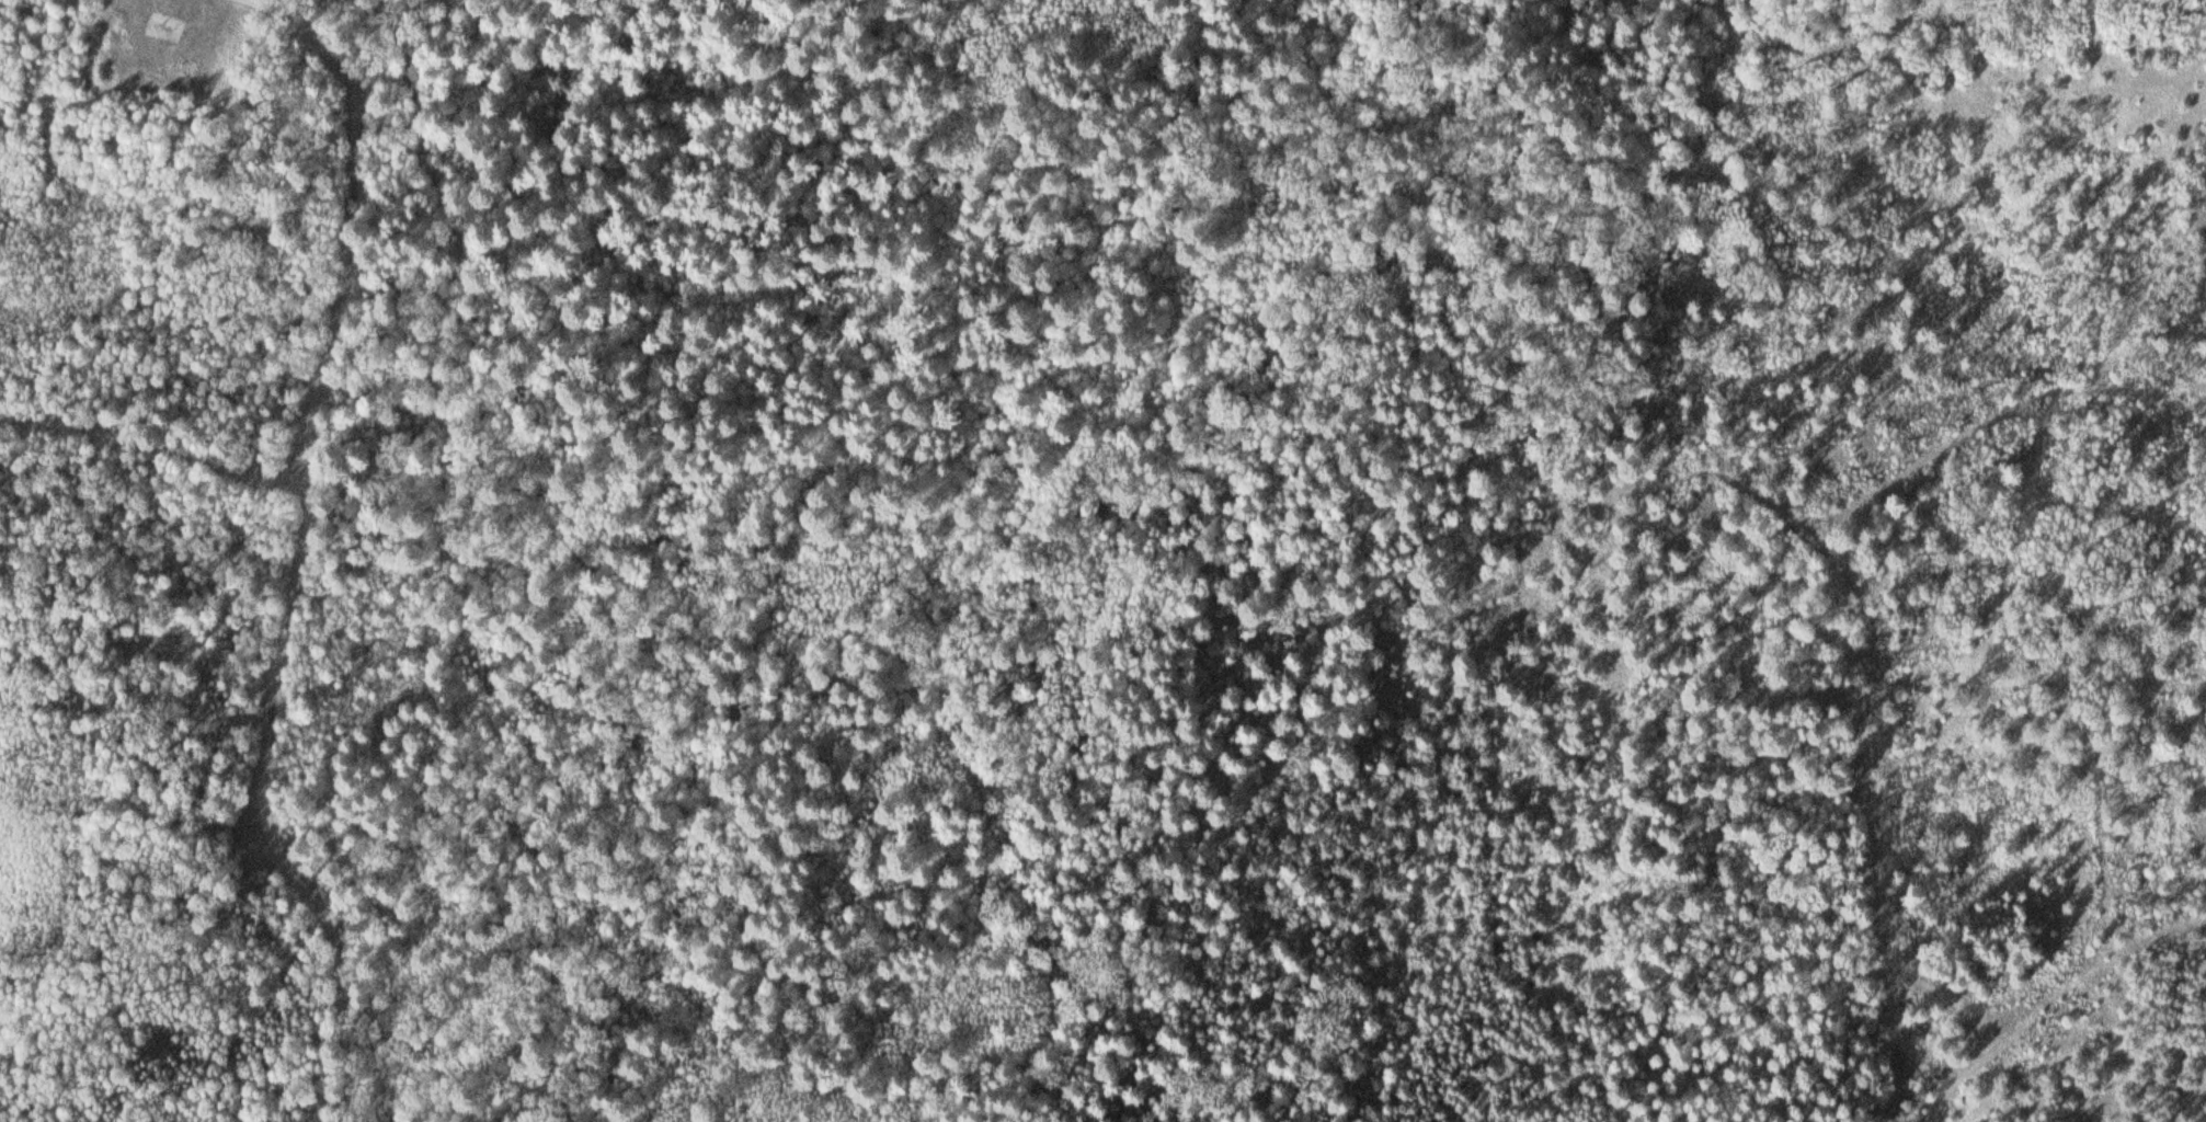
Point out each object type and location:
petroleum well: (163, 26)
road: (155, 447)
road: (300, 540)

